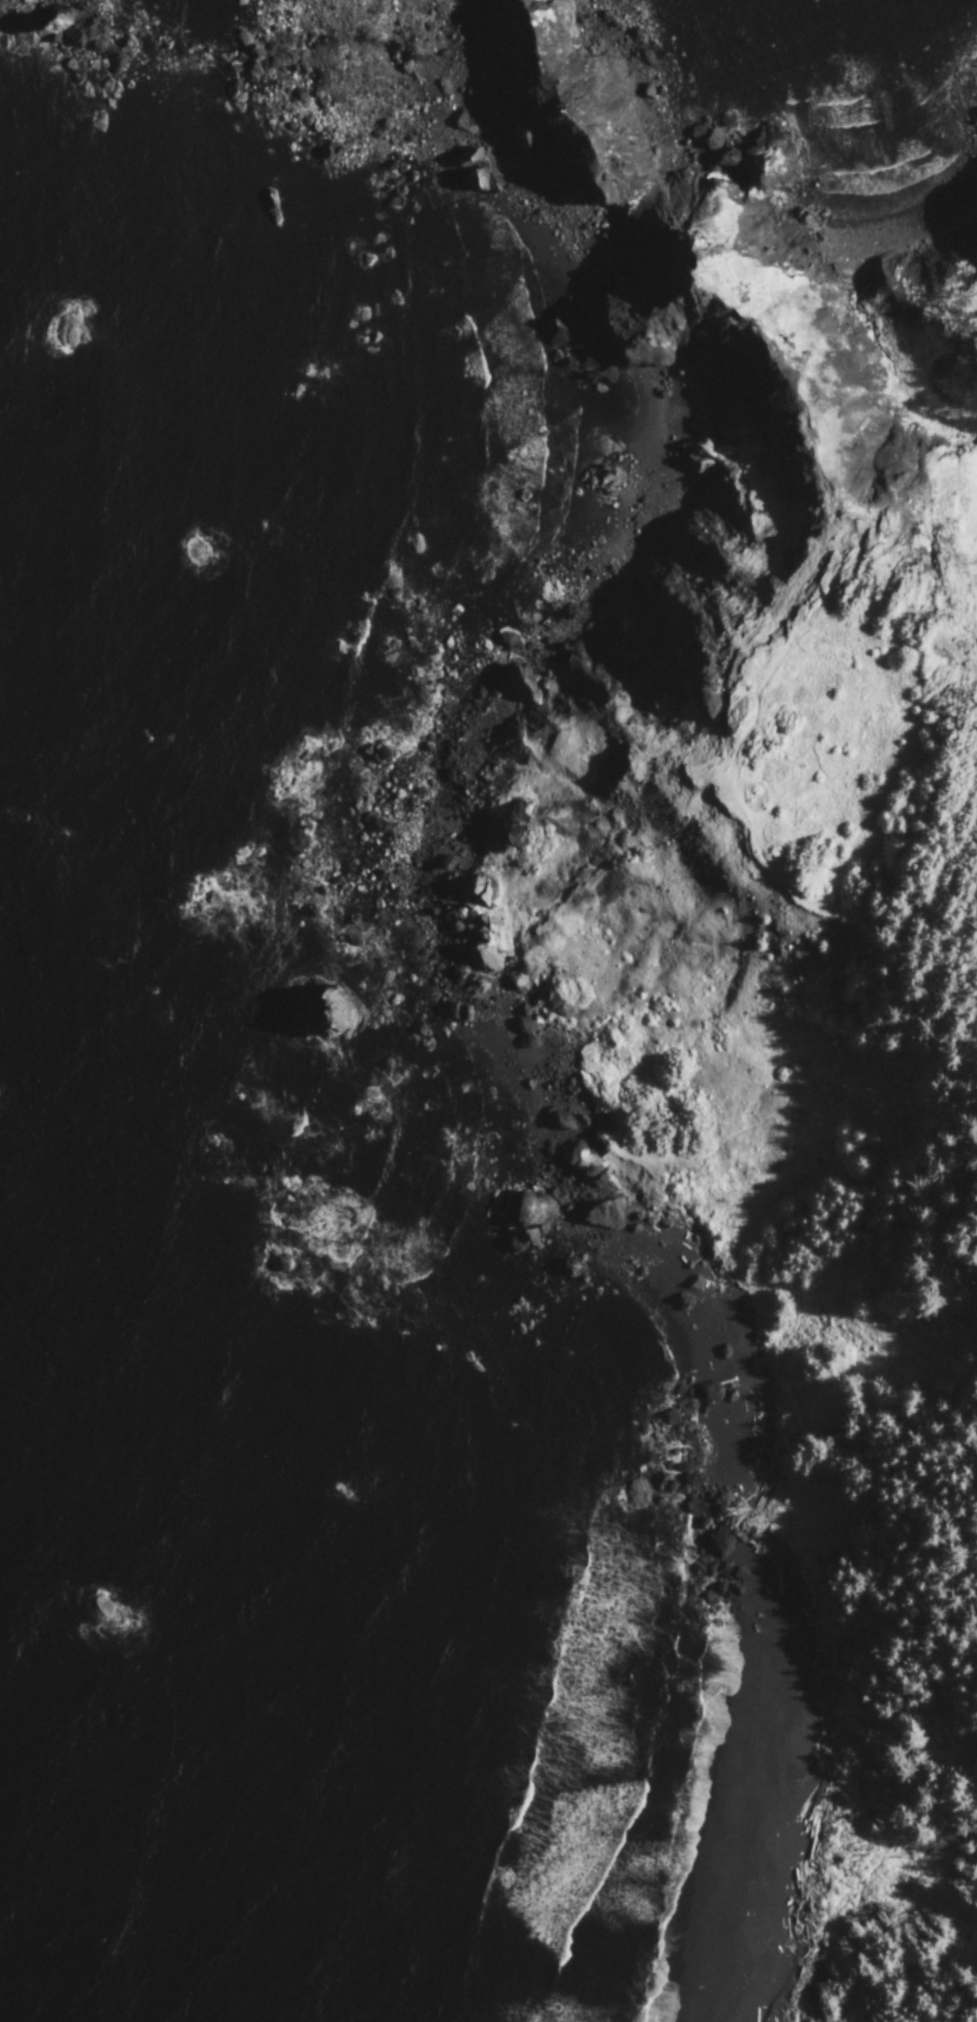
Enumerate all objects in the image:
road: (775, 661)
road: (824, 1078)

